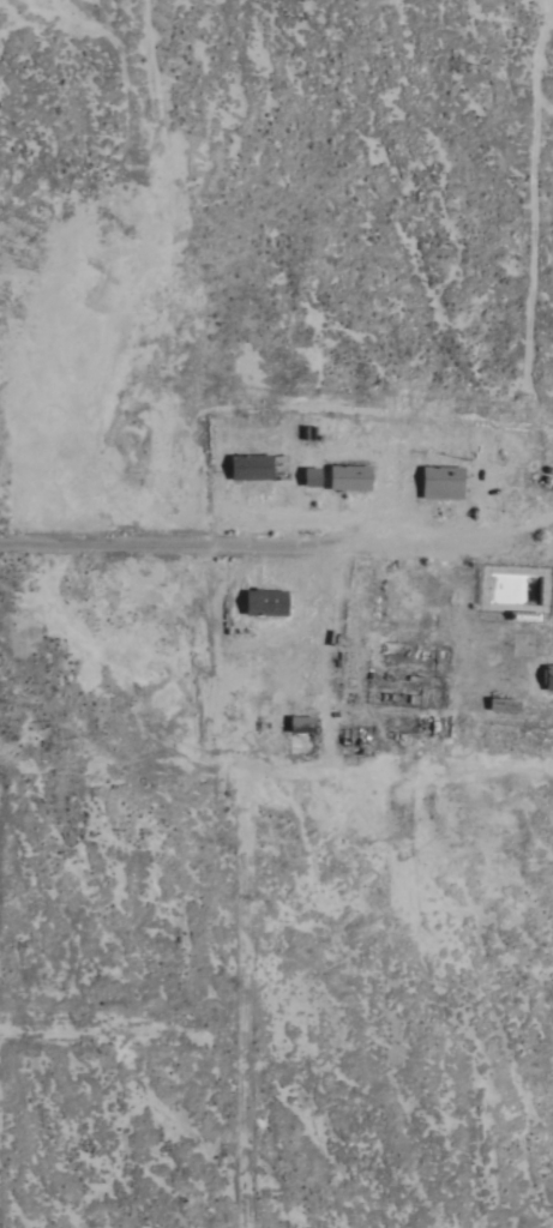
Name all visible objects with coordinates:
road: (533, 217)
building: (250, 466)
building: (311, 476)
building: (349, 477)
building: (441, 481)
road: (416, 543)
road: (139, 546)
building: (265, 602)
building: (523, 615)
building: (396, 649)
building: (547, 676)
building: (503, 704)
building: (301, 723)

